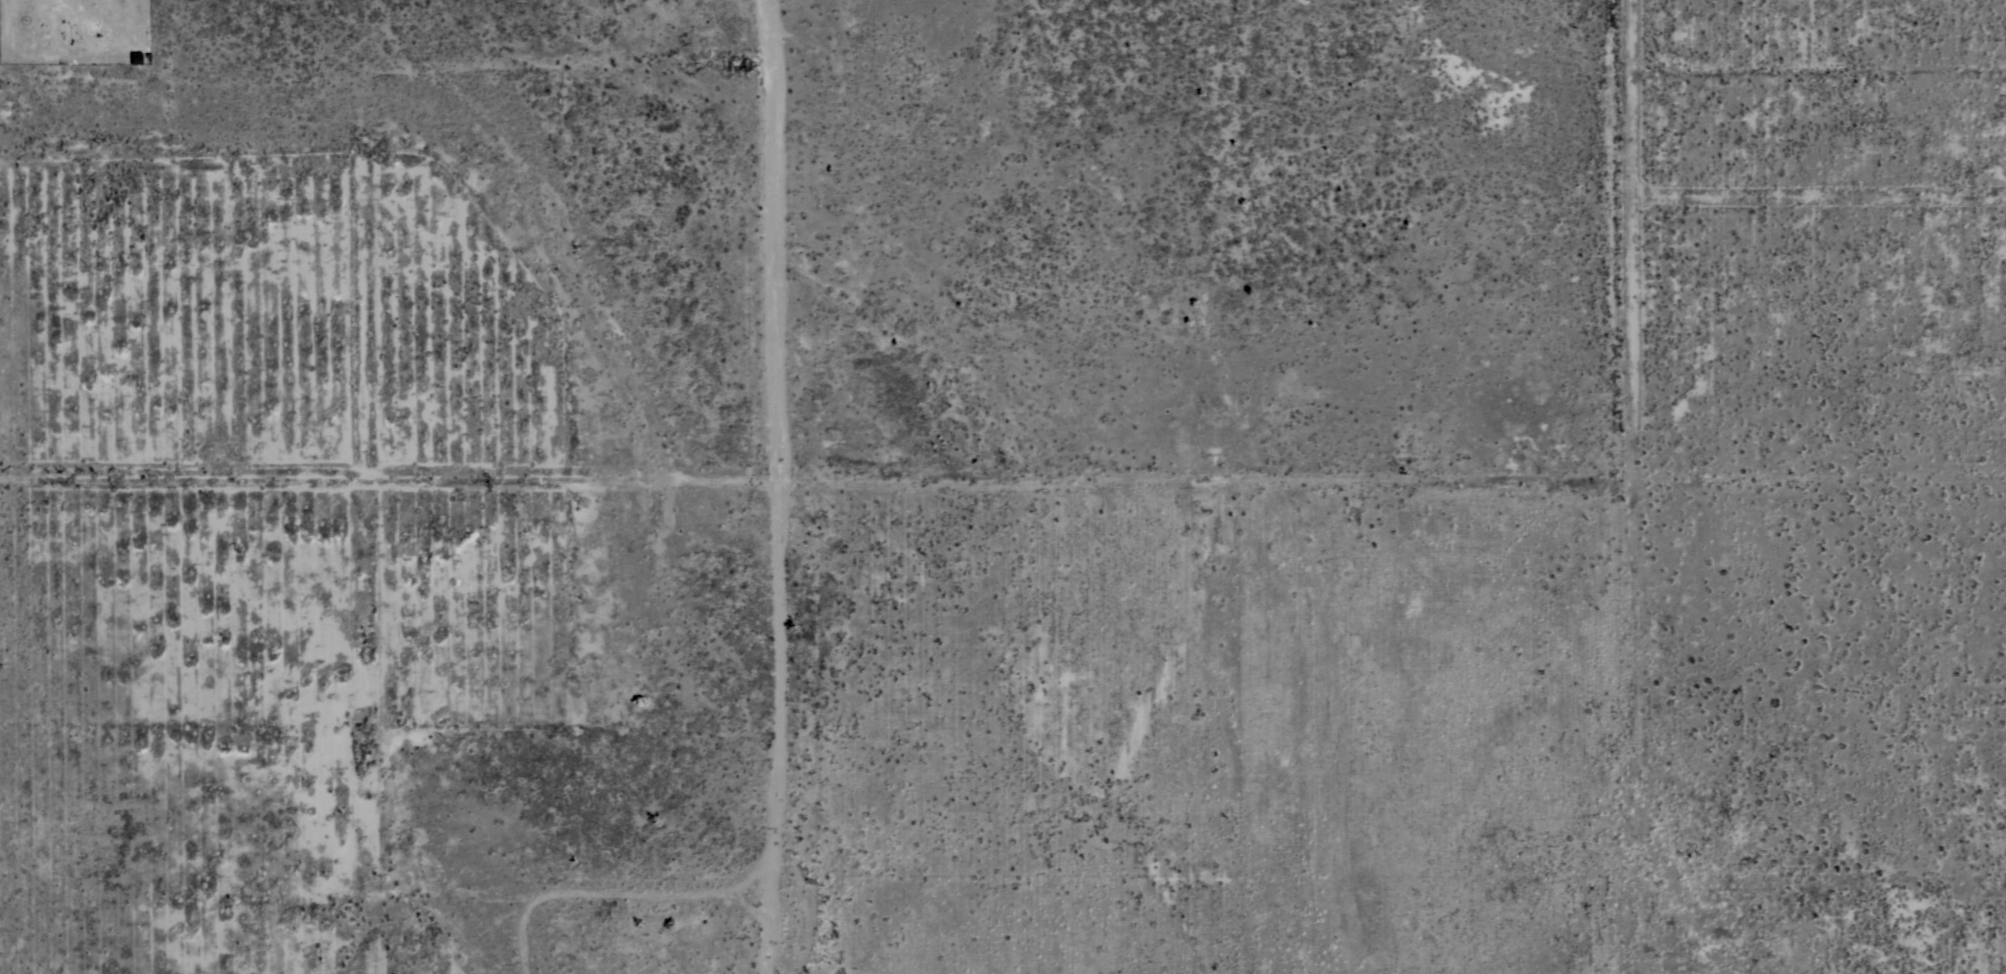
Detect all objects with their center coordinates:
road: (784, 487)
road: (1301, 487)

